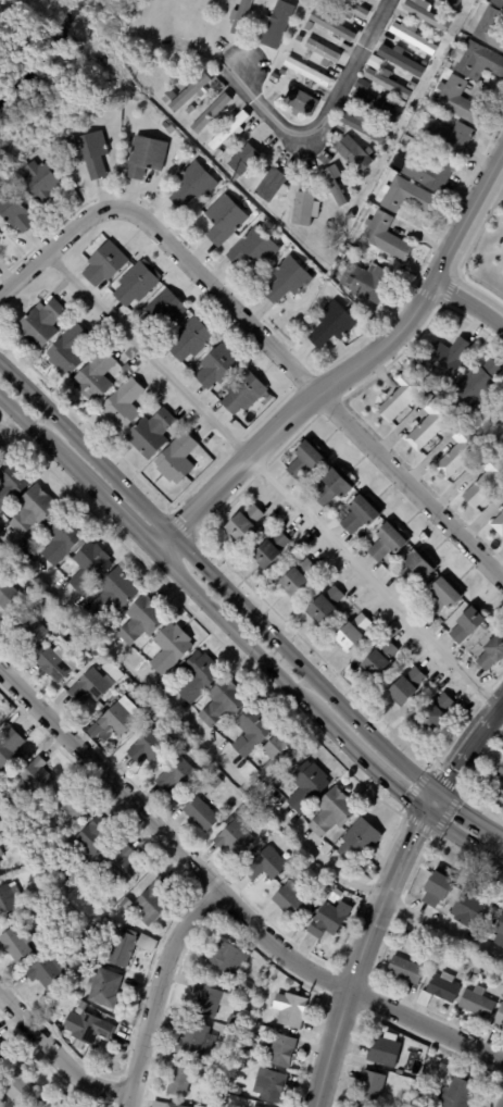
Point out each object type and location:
building: (452, 3)
building: (496, 3)
building: (351, 9)
building: (426, 13)
building: (450, 14)
building: (240, 16)
building: (276, 24)
building: (306, 26)
building: (331, 27)
building: (489, 29)
building: (298, 39)
building: (414, 39)
building: (322, 52)
building: (401, 60)
building: (425, 62)
building: (476, 62)
building: (374, 63)
building: (445, 65)
building: (281, 71)
building: (307, 72)
building: (273, 78)
building: (387, 83)
building: (411, 86)
building: (215, 87)
building: (185, 94)
building: (431, 100)
building: (457, 101)
building: (300, 103)
building: (378, 105)
building: (211, 114)
road: (324, 123)
building: (165, 126)
building: (363, 126)
building: (228, 132)
building: (447, 138)
building: (90, 153)
building: (353, 154)
building: (377, 154)
building: (143, 157)
building: (243, 160)
building: (428, 172)
building: (234, 178)
building: (39, 185)
building: (271, 185)
building: (193, 186)
building: (334, 188)
building: (407, 197)
building: (304, 209)
building: (14, 214)
building: (350, 215)
building: (223, 220)
building: (383, 237)
building: (252, 250)
building: (102, 265)
building: (287, 282)
building: (366, 282)
building: (136, 284)
road: (468, 301)
building: (161, 313)
building: (39, 324)
building: (330, 325)
road: (261, 337)
building: (189, 339)
building: (67, 350)
building: (84, 352)
building: (445, 359)
building: (216, 368)
road: (351, 369)
building: (126, 370)
building: (93, 376)
building: (478, 384)
building: (242, 394)
building: (403, 397)
building: (500, 398)
building: (122, 406)
building: (429, 425)
road: (29, 430)
building: (150, 434)
building: (0, 450)
building: (460, 453)
building: (175, 460)
building: (305, 461)
road: (269, 478)
building: (10, 483)
building: (485, 483)
building: (330, 489)
building: (502, 498)
road: (106, 506)
building: (33, 510)
building: (360, 514)
building: (242, 524)
building: (498, 525)
building: (60, 539)
building: (387, 543)
building: (269, 551)
building: (89, 567)
building: (64, 569)
building: (414, 570)
building: (295, 579)
road: (216, 580)
building: (113, 594)
building: (8, 597)
building: (440, 599)
building: (323, 606)
building: (141, 620)
building: (465, 626)
building: (26, 631)
road: (235, 633)
building: (351, 633)
building: (390, 633)
building: (169, 649)
building: (492, 656)
building: (80, 660)
building: (378, 660)
building: (51, 666)
building: (197, 676)
building: (405, 688)
building: (92, 691)
building: (223, 704)
building: (147, 709)
building: (433, 713)
building: (118, 718)
building: (153, 718)
building: (148, 724)
building: (251, 732)
road: (467, 744)
building: (148, 749)
building: (9, 751)
building: (277, 760)
road: (366, 764)
building: (500, 773)
road: (231, 774)
building: (34, 776)
building: (176, 776)
building: (216, 783)
building: (306, 787)
traffic signals: (435, 793)
building: (4, 795)
building: (501, 796)
road: (429, 801)
building: (70, 804)
traffic signals: (424, 811)
building: (239, 812)
building: (332, 812)
road: (468, 813)
building: (199, 816)
building: (230, 820)
building: (92, 837)
road: (462, 838)
building: (232, 839)
building: (359, 841)
building: (123, 867)
building: (264, 867)
building: (437, 887)
building: (322, 890)
building: (335, 895)
road: (227, 896)
building: (8, 901)
building: (54, 903)
building: (152, 903)
building: (289, 903)
building: (126, 905)
building: (469, 908)
building: (327, 922)
building: (499, 931)
building: (90, 940)
building: (16, 944)
building: (146, 945)
building: (120, 949)
road: (361, 955)
building: (88, 958)
building: (226, 958)
building: (477, 969)
building: (405, 970)
building: (46, 973)
building: (442, 987)
building: (102, 990)
road: (159, 990)
building: (253, 990)
building: (260, 993)
building: (209, 999)
building: (423, 999)
building: (476, 1003)
building: (289, 1009)
building: (499, 1016)
building: (253, 1018)
building: (232, 1020)
building: (86, 1028)
building: (53, 1030)
building: (191, 1042)
building: (243, 1046)
building: (280, 1050)
building: (385, 1050)
building: (4, 1058)
road: (56, 1059)
building: (239, 1065)
building: (178, 1077)
building: (268, 1085)
building: (17, 1089)
building: (368, 1089)
building: (430, 1089)
building: (234, 1091)
building: (456, 1094)
building: (217, 1104)
building: (163, 1105)
building: (416, 1105)
building: (251, 1106)

